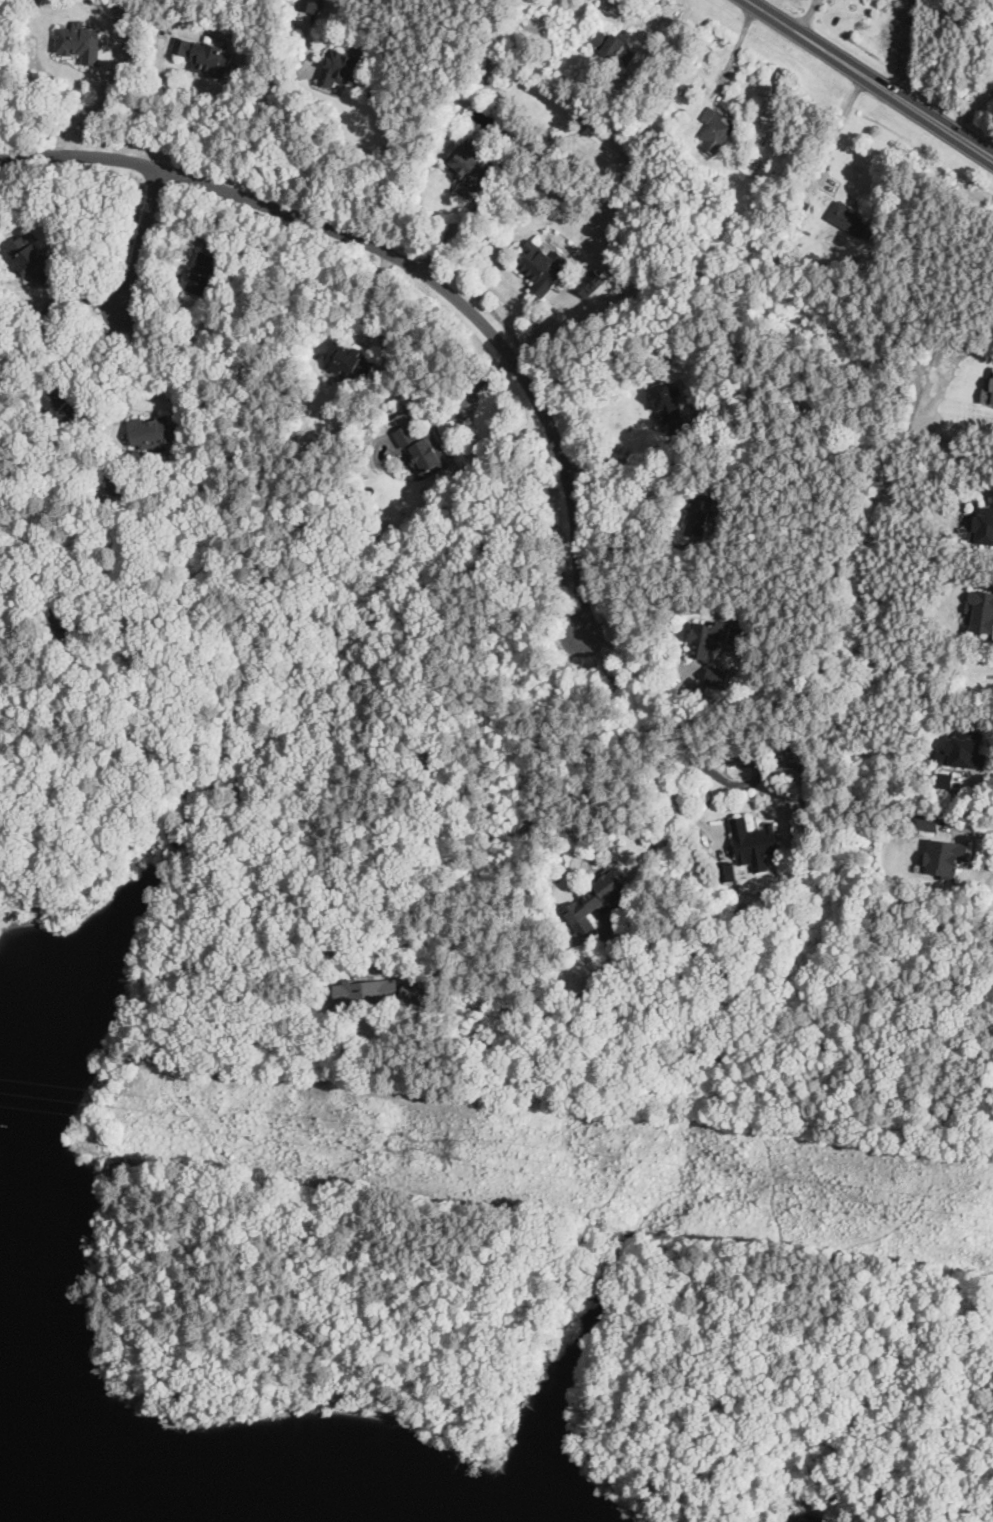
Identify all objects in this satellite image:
building: (312, 5)
road: (639, 11)
road: (806, 15)
building: (536, 25)
building: (80, 41)
building: (613, 45)
road: (732, 55)
building: (205, 56)
building: (341, 68)
road: (870, 79)
road: (725, 109)
road: (86, 110)
road: (973, 111)
road: (169, 122)
building: (717, 129)
road: (261, 133)
road: (836, 133)
building: (470, 168)
road: (851, 195)
building: (801, 205)
building: (847, 217)
road: (451, 236)
road: (142, 247)
building: (33, 258)
building: (543, 265)
road: (407, 271)
building: (205, 272)
road: (376, 317)
building: (351, 359)
road: (139, 360)
building: (988, 394)
road: (467, 396)
building: (672, 408)
building: (151, 431)
building: (423, 449)
road: (617, 461)
building: (699, 516)
building: (980, 525)
road: (992, 592)
building: (982, 612)
building: (713, 637)
road: (636, 654)
road: (649, 737)
road: (990, 749)
building: (964, 750)
road: (597, 755)
road: (978, 773)
road: (973, 779)
building: (945, 781)
building: (929, 823)
road: (966, 831)
road: (965, 834)
building: (754, 841)
building: (944, 856)
road: (974, 856)
building: (596, 900)
road: (518, 928)
building: (368, 991)
building: (415, 993)
power tower: (456, 1146)
road: (351, 1353)

